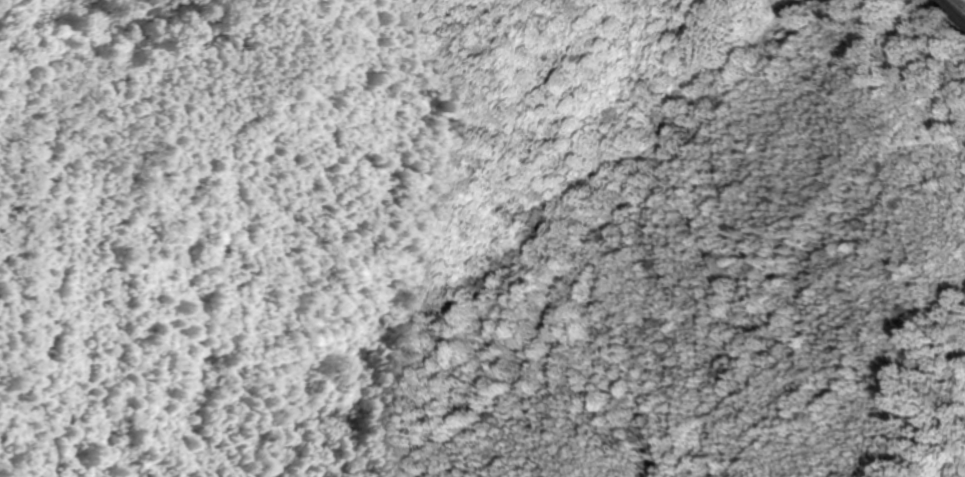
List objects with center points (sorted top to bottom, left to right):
road: (949, 14)

